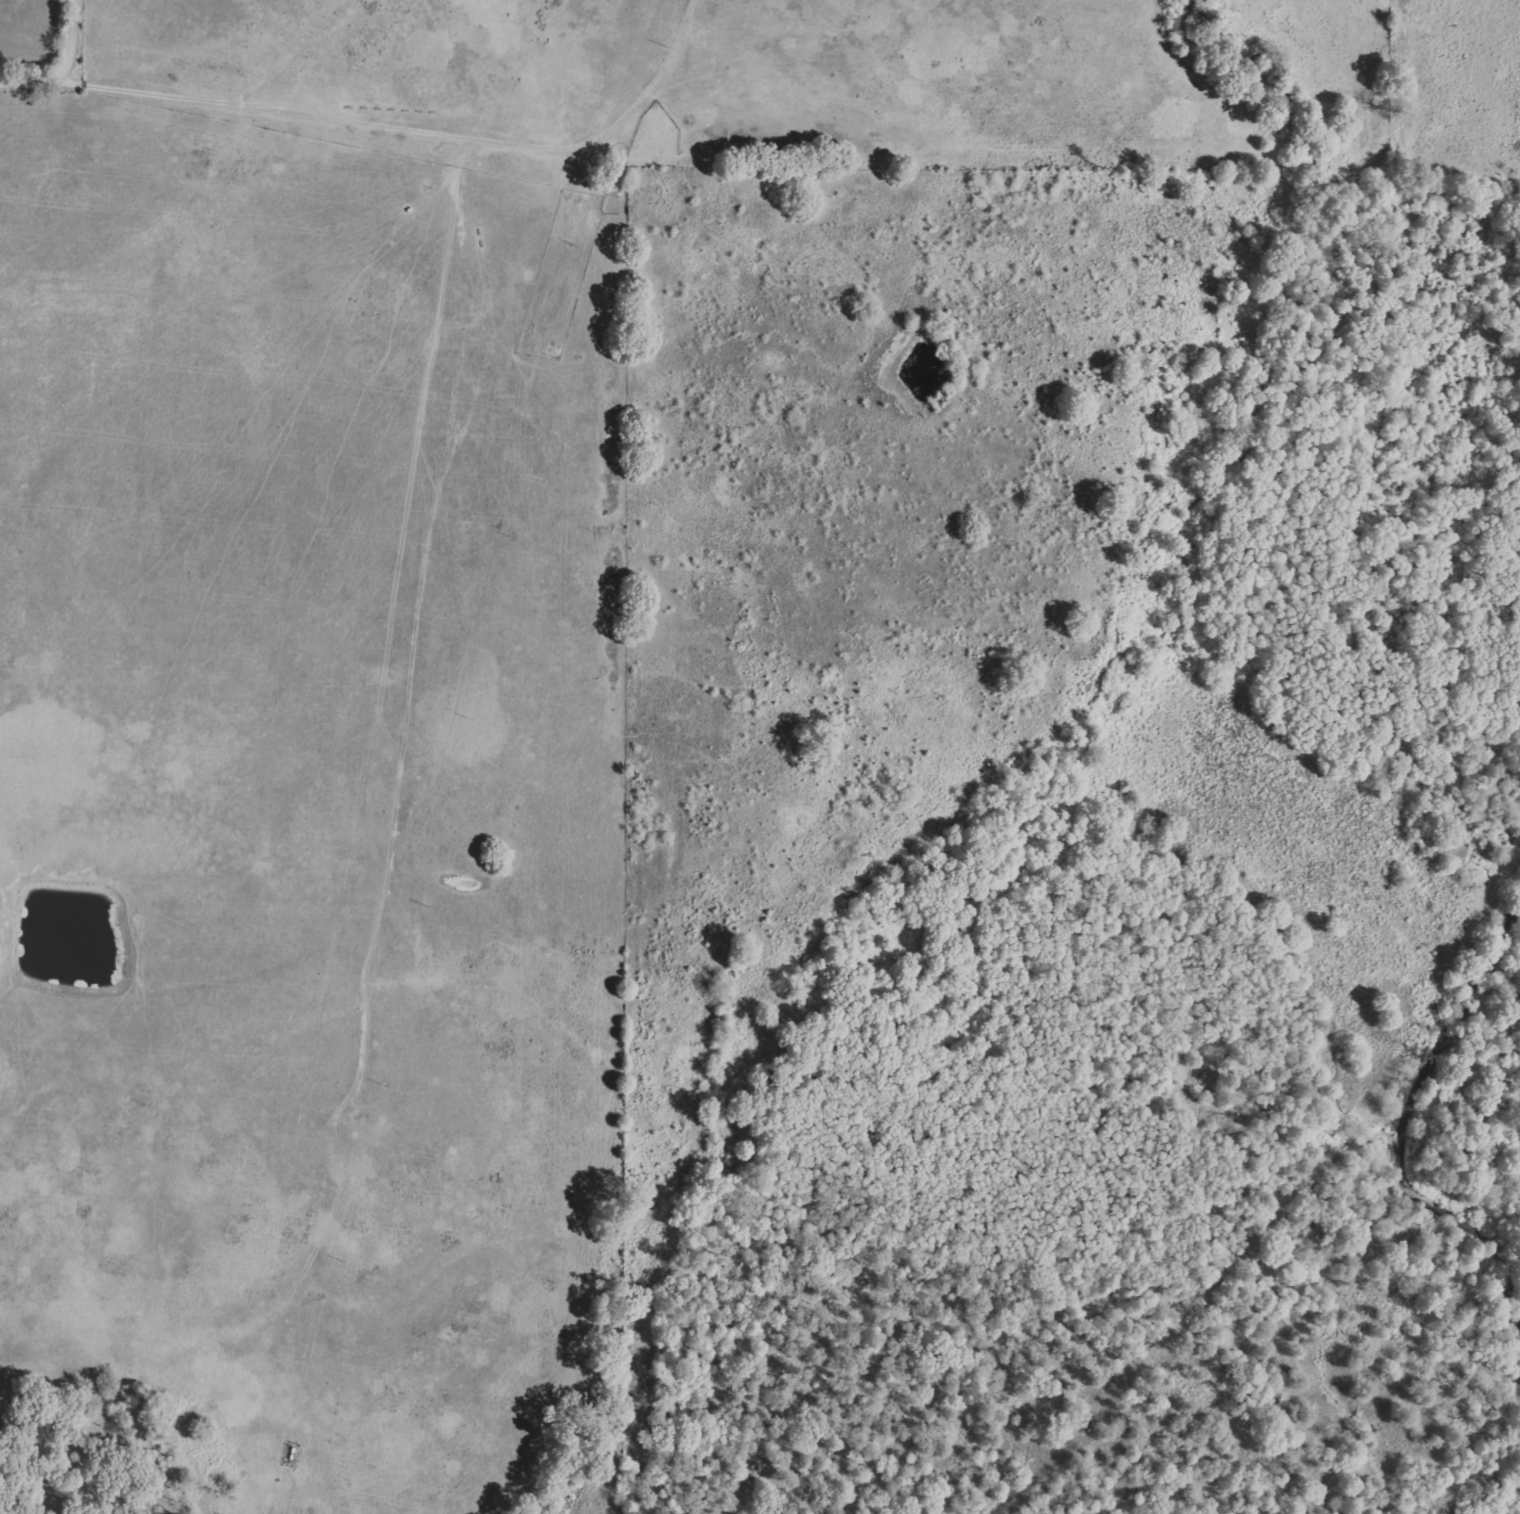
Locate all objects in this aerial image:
road: (64, 68)

